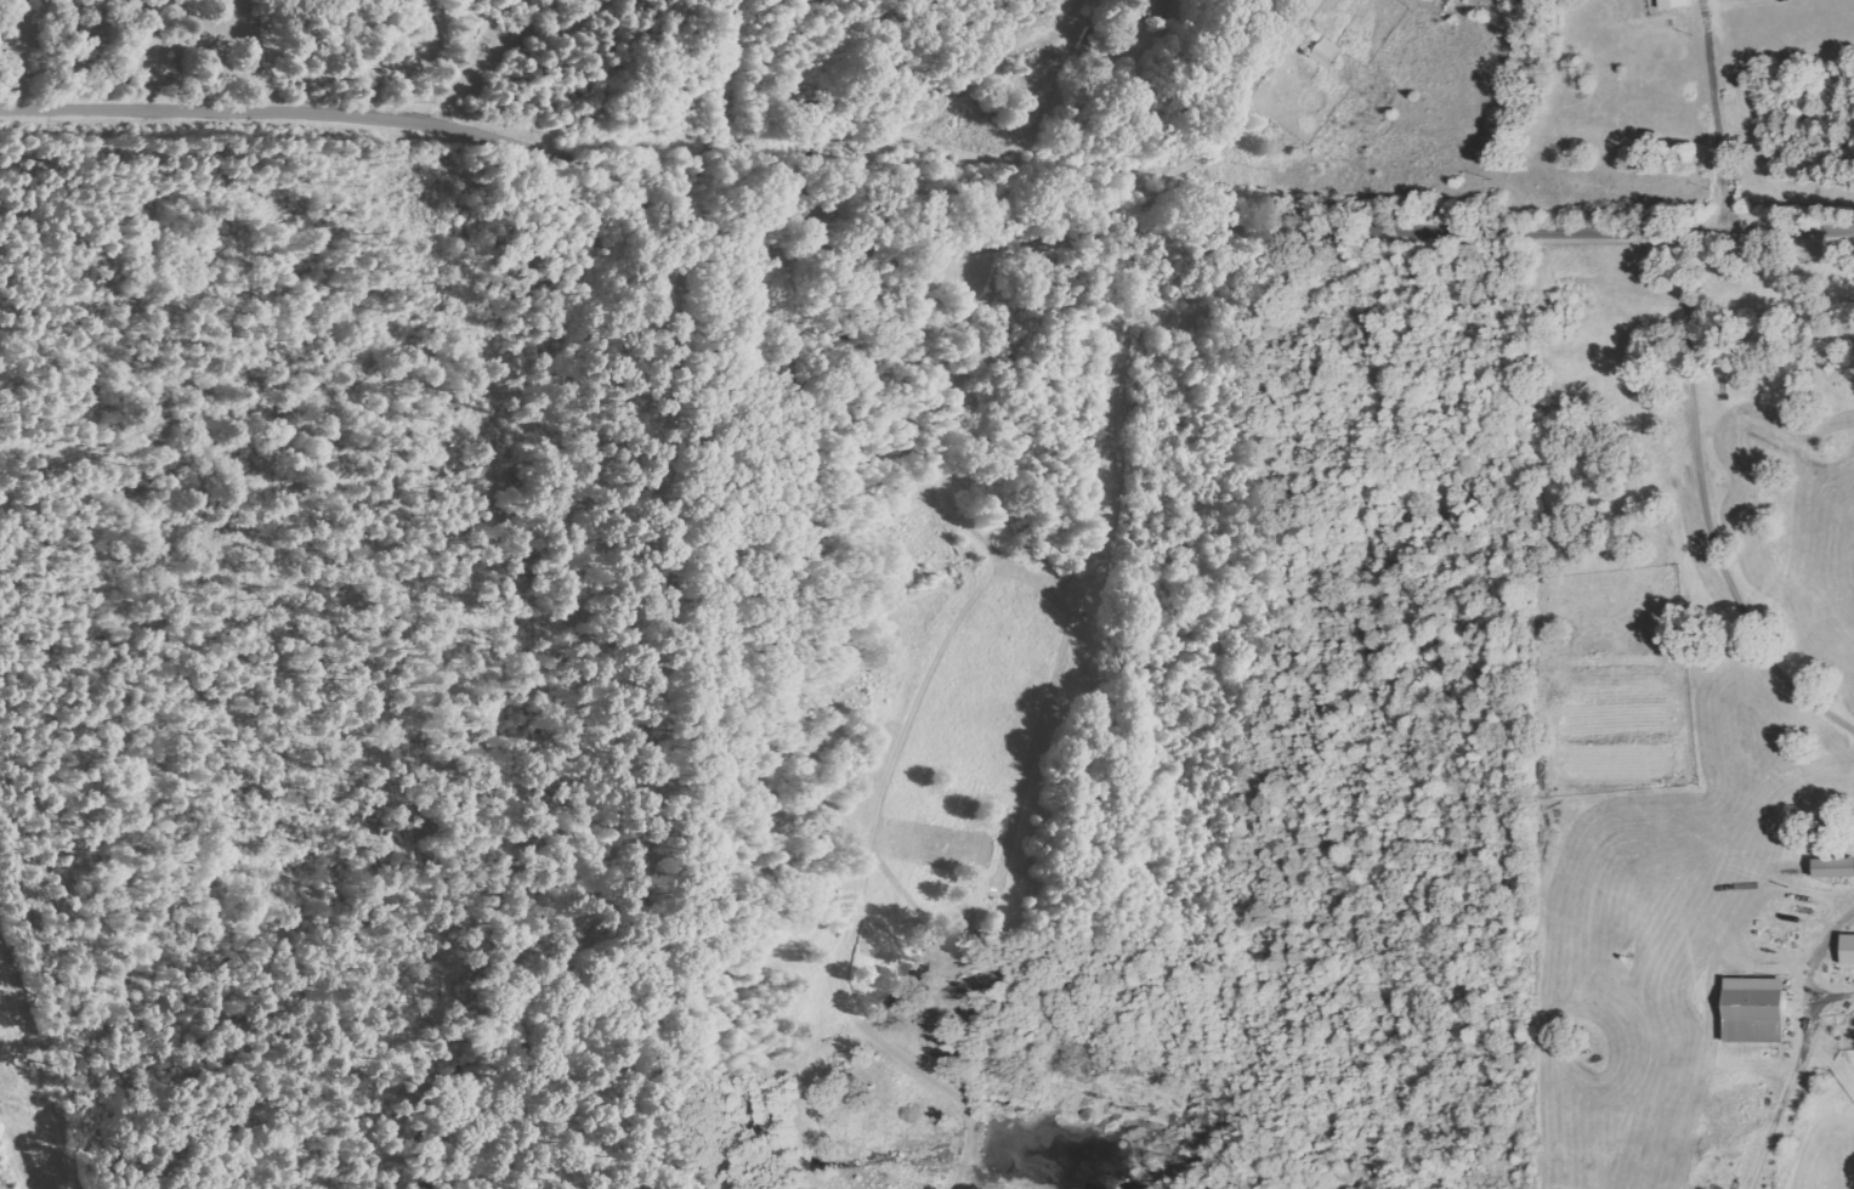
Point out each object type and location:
building: (1673, 4)
building: (1150, 9)
road: (918, 247)
building: (1833, 868)
building: (1848, 950)
building: (1754, 1010)

